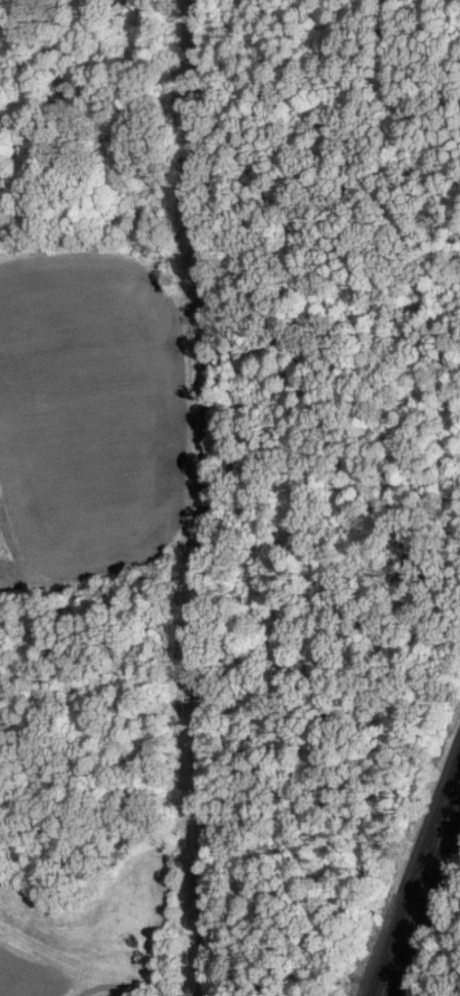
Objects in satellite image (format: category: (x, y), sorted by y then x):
road: (208, 498)
road: (416, 877)

